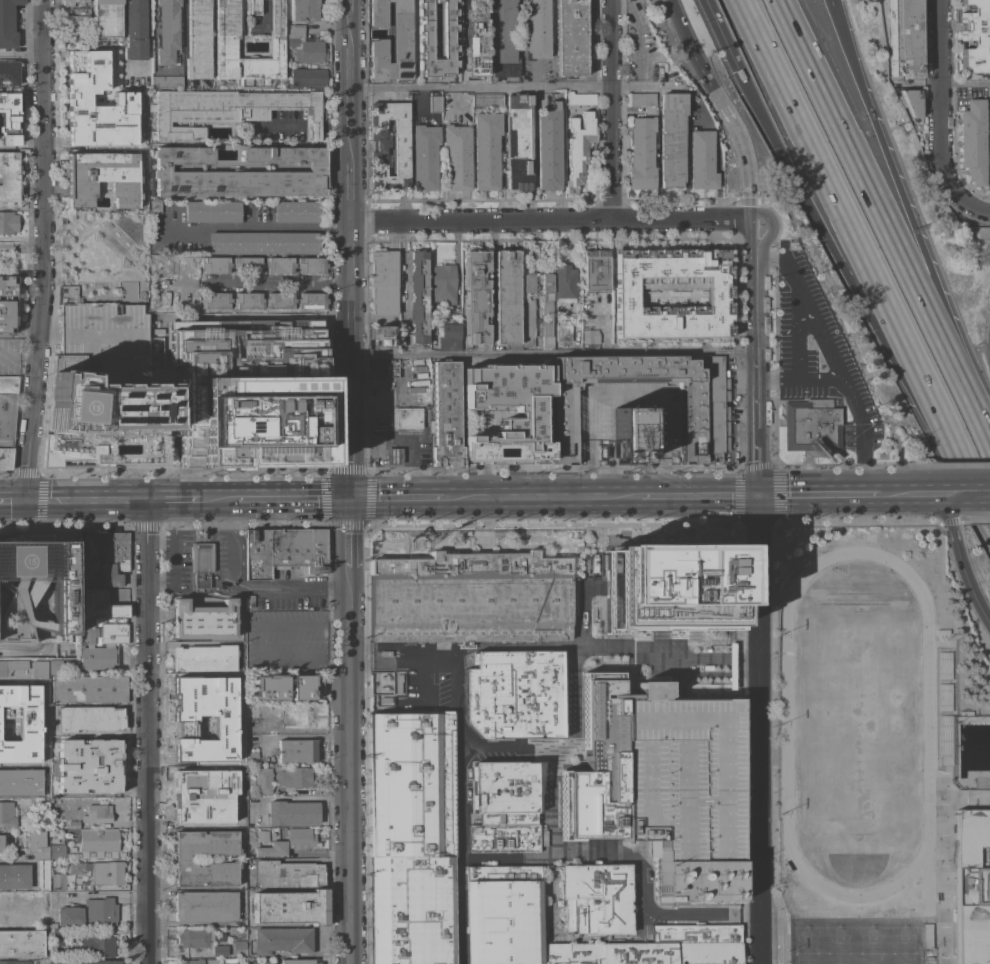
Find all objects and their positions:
building: (436, 1)
building: (67, 2)
building: (254, 6)
building: (304, 10)
building: (83, 11)
road: (348, 14)
building: (106, 19)
building: (7, 23)
road: (677, 23)
building: (75, 28)
building: (538, 28)
building: (135, 29)
building: (449, 29)
building: (167, 30)
road: (719, 34)
building: (570, 37)
building: (975, 37)
building: (503, 38)
building: (903, 38)
building: (475, 39)
building: (199, 40)
road: (609, 43)
road: (153, 45)
building: (305, 45)
building: (226, 48)
building: (401, 51)
traffic signals: (737, 71)
building: (9, 72)
building: (308, 77)
building: (168, 81)
road: (964, 83)
road: (479, 87)
road: (649, 87)
road: (348, 95)
building: (97, 99)
building: (488, 99)
building: (580, 99)
building: (642, 99)
road: (937, 100)
building: (911, 101)
building: (435, 103)
building: (229, 110)
building: (9, 118)
road: (277, 127)
road: (313, 127)
road: (334, 127)
road: (736, 134)
building: (989, 138)
building: (672, 139)
building: (518, 141)
building: (973, 141)
building: (400, 145)
building: (548, 147)
building: (578, 148)
building: (486, 149)
road: (611, 153)
building: (641, 153)
building: (425, 156)
building: (457, 156)
building: (701, 160)
building: (241, 172)
building: (103, 177)
building: (9, 179)
road: (348, 192)
building: (155, 206)
road: (971, 206)
road: (905, 208)
road: (877, 209)
building: (212, 211)
building: (296, 211)
road: (762, 212)
road: (527, 220)
building: (8, 222)
road: (729, 222)
road: (334, 226)
road: (248, 228)
road: (22, 238)
road: (115, 242)
building: (264, 242)
building: (792, 245)
park: (100, 246)
road: (753, 247)
road: (137, 248)
road: (43, 250)
road: (51, 256)
road: (866, 261)
road: (785, 262)
road: (838, 262)
building: (217, 264)
building: (281, 264)
building: (311, 264)
building: (248, 265)
road: (405, 269)
building: (595, 271)
road: (260, 281)
building: (383, 282)
building: (443, 282)
building: (528, 282)
building: (564, 285)
road: (801, 293)
building: (475, 294)
building: (674, 295)
building: (418, 296)
building: (507, 297)
building: (185, 298)
building: (217, 300)
building: (247, 300)
building: (281, 300)
building: (312, 300)
building: (153, 302)
building: (7, 303)
building: (547, 310)
road: (350, 312)
building: (528, 322)
road: (757, 328)
building: (566, 333)
building: (384, 336)
building: (449, 336)
building: (590, 336)
parking lot: (821, 351)
road: (18, 354)
road: (554, 355)
building: (110, 387)
road: (627, 393)
road: (850, 397)
building: (713, 408)
building: (512, 412)
building: (446, 414)
road: (383, 416)
road: (593, 416)
building: (407, 417)
building: (691, 417)
building: (7, 418)
road: (353, 422)
road: (662, 424)
building: (377, 427)
building: (812, 427)
road: (376, 428)
road: (390, 429)
road: (984, 429)
building: (629, 434)
road: (364, 441)
road: (383, 441)
road: (403, 442)
road: (759, 445)
road: (376, 447)
road: (416, 454)
building: (393, 456)
road: (376, 459)
road: (396, 466)
road: (593, 466)
road: (353, 469)
road: (663, 475)
road: (915, 493)
road: (970, 493)
road: (819, 494)
road: (518, 495)
road: (617, 495)
road: (652, 495)
road: (712, 495)
traffic signals: (760, 495)
road: (397, 496)
road: (294, 497)
traffic signals: (353, 497)
road: (216, 498)
road: (88, 500)
road: (174, 500)
road: (13, 501)
traffic signals: (27, 501)
road: (954, 536)
road: (353, 539)
road: (240, 544)
building: (91, 551)
building: (285, 551)
road: (177, 554)
building: (112, 557)
parking lot: (178, 559)
helipad: (18, 560)
building: (202, 563)
building: (470, 566)
road: (243, 586)
building: (35, 591)
building: (83, 592)
building: (672, 592)
road: (979, 602)
building: (106, 604)
building: (471, 609)
building: (203, 619)
building: (102, 632)
parking lot: (283, 638)
road: (254, 639)
road: (388, 645)
road: (629, 648)
building: (386, 652)
road: (361, 653)
building: (98, 657)
building: (205, 657)
road: (688, 657)
road: (725, 657)
road: (388, 662)
building: (12, 666)
building: (55, 666)
road: (754, 667)
building: (38, 669)
road: (694, 675)
road: (730, 675)
building: (399, 682)
building: (381, 683)
road: (680, 684)
building: (270, 687)
building: (303, 687)
building: (89, 688)
building: (514, 694)
building: (296, 715)
building: (89, 718)
building: (204, 719)
track: (857, 722)
building: (19, 723)
park: (857, 723)
building: (253, 724)
road: (761, 729)
road: (149, 732)
building: (252, 746)
road: (497, 747)
road: (353, 749)
building: (297, 750)
building: (88, 766)
building: (595, 770)
building: (677, 773)
parking garage: (677, 773)
building: (294, 776)
building: (263, 780)
building: (20, 782)
building: (412, 784)
building: (203, 787)
building: (250, 787)
building: (505, 787)
building: (292, 812)
building: (97, 813)
building: (7, 814)
building: (73, 824)
building: (504, 833)
building: (262, 836)
building: (300, 837)
building: (91, 840)
building: (1, 842)
building: (36, 845)
building: (272, 848)
building: (57, 850)
road: (460, 855)
building: (181, 859)
road: (636, 859)
road: (15, 860)
building: (100, 871)
building: (43, 874)
building: (286, 874)
building: (15, 876)
building: (696, 878)
building: (57, 881)
building: (973, 886)
building: (32, 894)
building: (597, 897)
building: (6, 899)
building: (30, 904)
building: (206, 906)
building: (290, 907)
building: (413, 910)
building: (89, 912)
building: (502, 914)
building: (8, 920)
building: (53, 925)
building: (196, 937)
building: (56, 938)
building: (283, 940)
park: (854, 940)
road: (352, 941)
building: (21, 943)
building: (97, 945)
building: (239, 945)
building: (656, 947)
building: (220, 950)
building: (41, 961)
building: (191, 961)
building: (212, 961)
building: (229, 961)
building: (297, 961)
building: (13, 962)
building: (97, 962)

